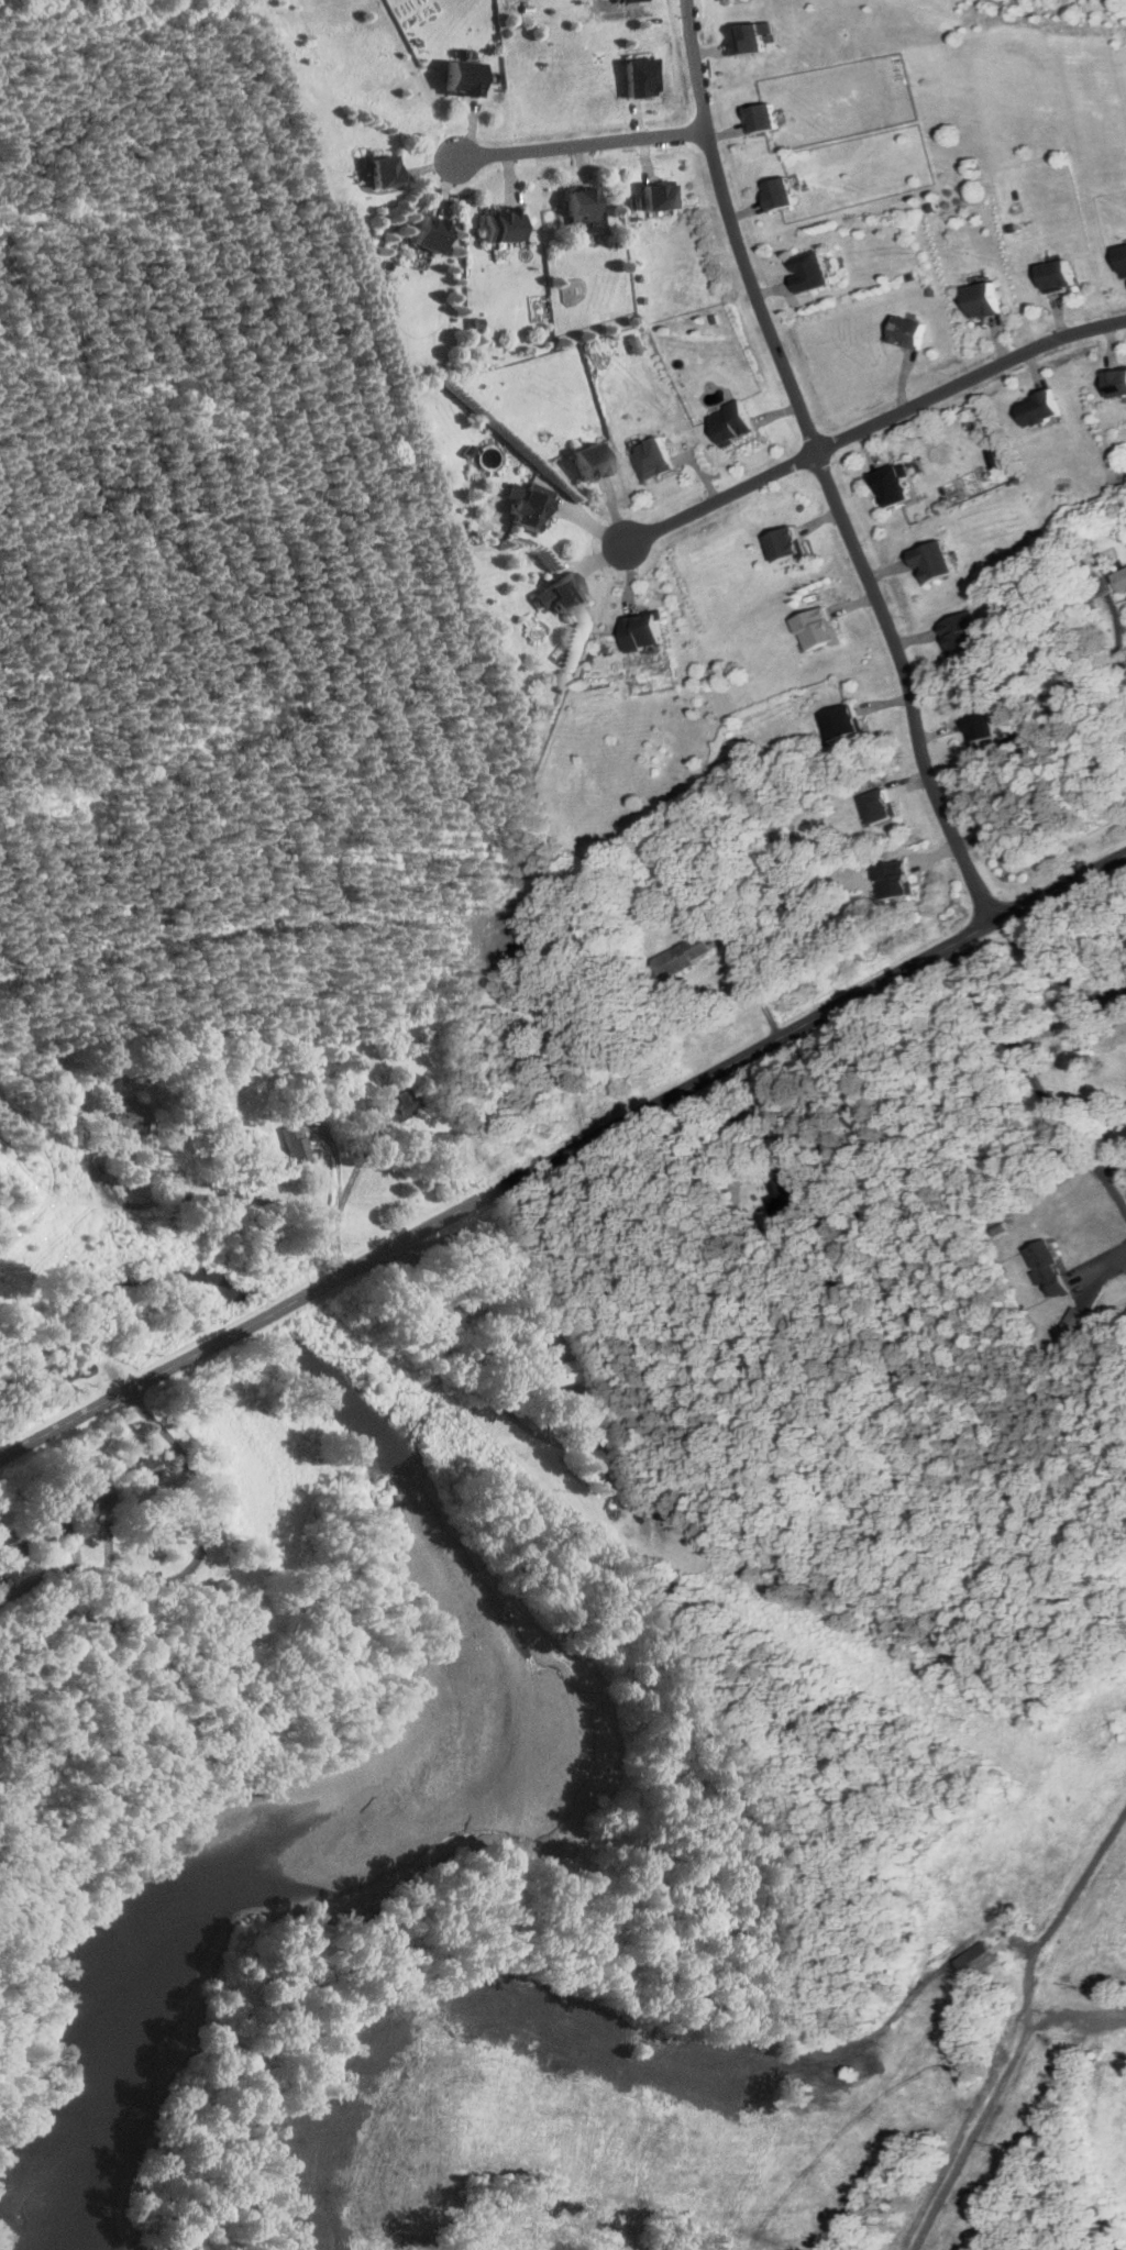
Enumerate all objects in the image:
building: (616, 0)
building: (750, 36)
building: (633, 75)
building: (462, 77)
building: (762, 115)
road: (581, 144)
building: (385, 170)
building: (779, 194)
building: (661, 195)
building: (634, 202)
building: (931, 206)
building: (585, 208)
building: (505, 223)
building: (1012, 228)
building: (431, 231)
building: (616, 241)
building: (1123, 258)
building: (809, 271)
building: (912, 274)
building: (1057, 274)
building: (931, 290)
building: (982, 298)
building: (717, 317)
building: (478, 323)
building: (908, 331)
building: (630, 343)
building: (1116, 382)
building: (1039, 407)
building: (736, 422)
road: (874, 422)
building: (468, 449)
building: (991, 451)
building: (659, 457)
building: (592, 461)
road: (820, 467)
building: (892, 483)
building: (529, 505)
building: (784, 543)
building: (932, 560)
building: (1119, 578)
building: (558, 594)
building: (810, 597)
building: (816, 628)
building: (645, 631)
building: (960, 631)
building: (608, 646)
road: (1116, 652)
building: (565, 687)
building: (840, 721)
building: (978, 727)
building: (876, 807)
building: (892, 879)
building: (681, 955)
road: (1057, 971)
road: (751, 989)
road: (1061, 1027)
road: (1035, 1082)
building: (404, 1099)
road: (790, 1105)
building: (132, 1116)
building: (297, 1140)
road: (566, 1154)
road: (1113, 1170)
road: (351, 1183)
road: (212, 1196)
building: (1000, 1226)
road: (501, 1249)
road: (336, 1254)
building: (1047, 1265)
building: (1073, 1319)
building: (85, 1367)
building: (558, 1371)
road: (4, 1456)
building: (605, 1458)
building: (144, 1468)
building: (98, 1493)
building: (54, 1520)
building: (12, 1542)
building: (1, 1563)
road: (192, 1567)
road: (1082, 1883)
building: (974, 1959)

